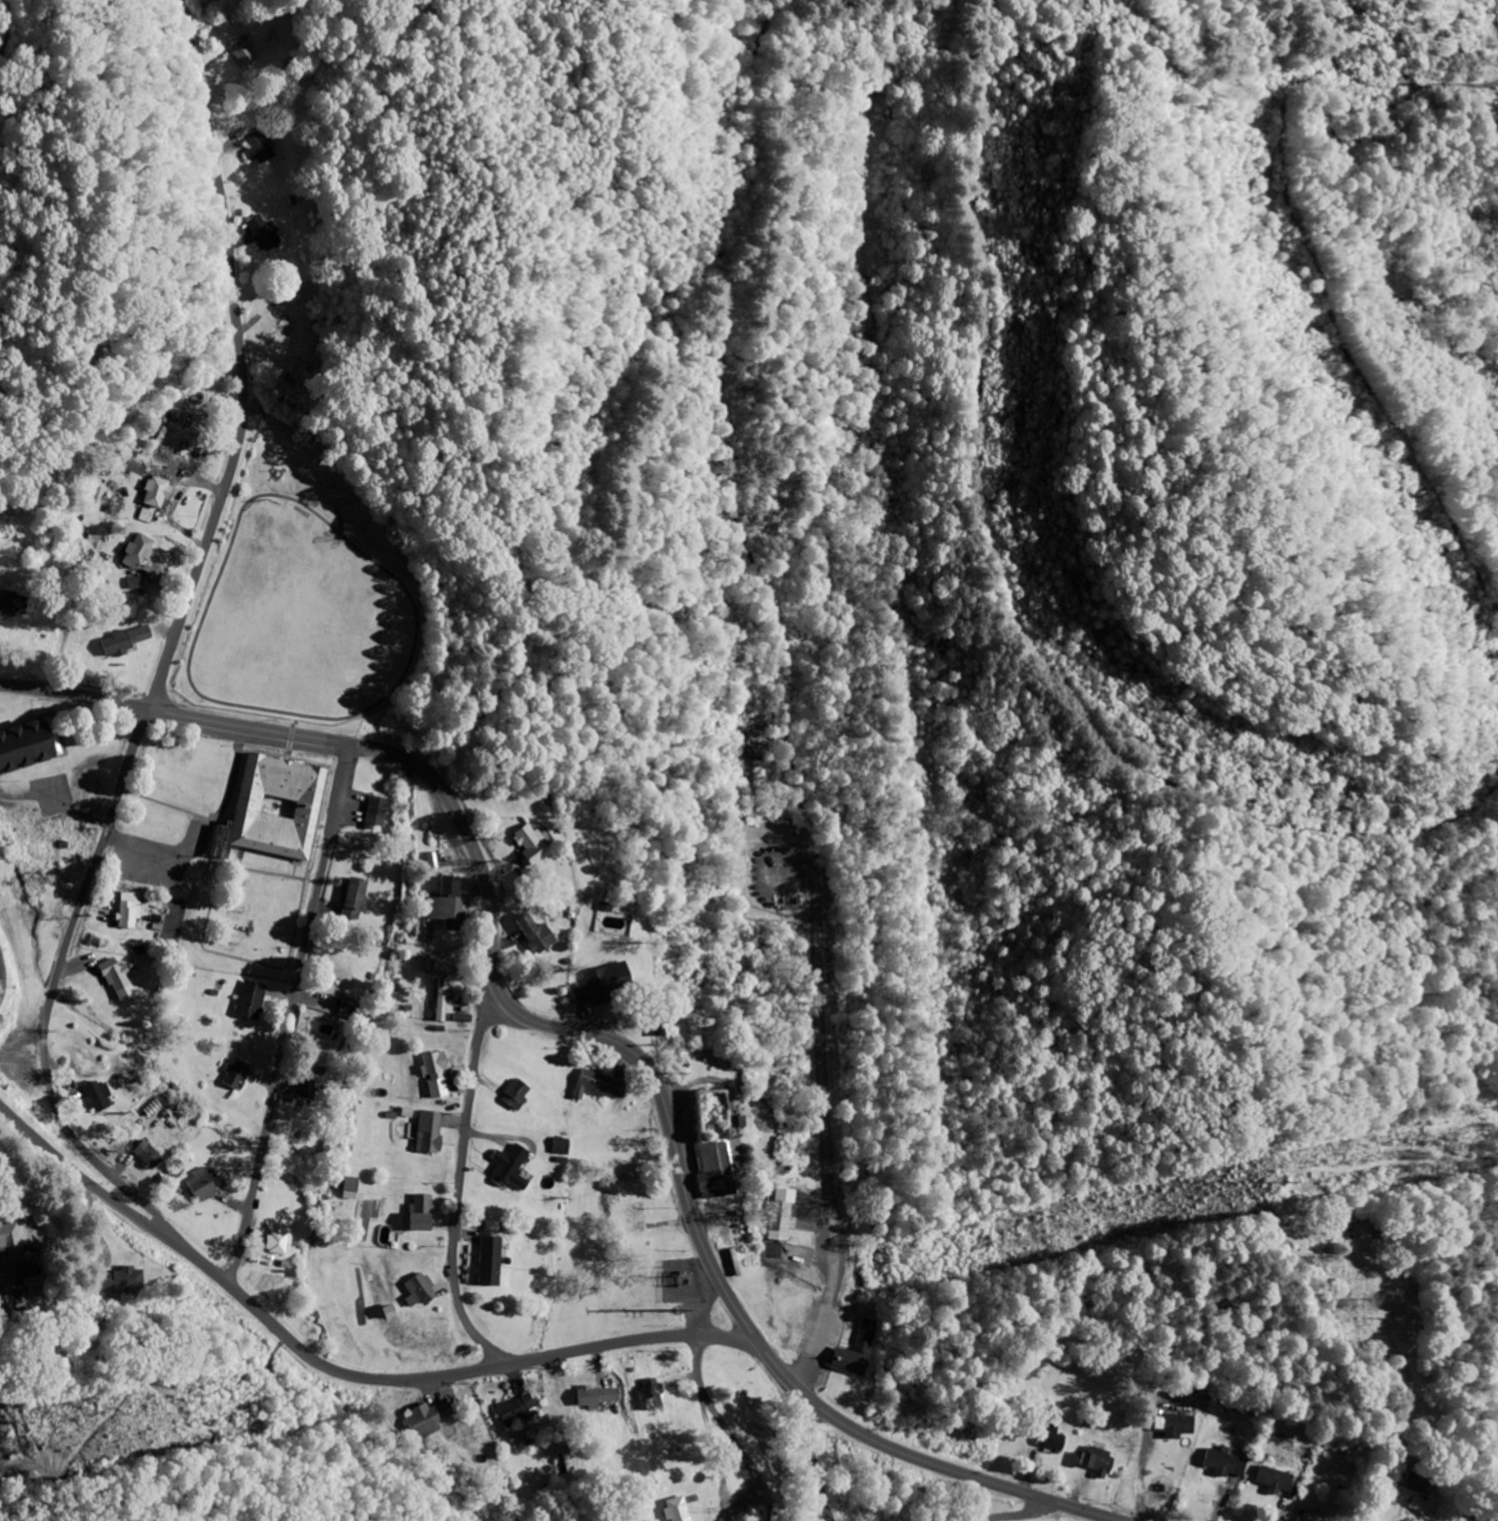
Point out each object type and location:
building: (244, 50)
building: (257, 144)
building: (263, 230)
building: (285, 316)
road: (244, 360)
building: (169, 443)
building: (154, 491)
building: (135, 550)
park: (307, 589)
building: (8, 601)
building: (125, 640)
building: (20, 746)
building: (271, 807)
building: (374, 810)
building: (527, 844)
building: (351, 893)
building: (445, 902)
building: (128, 909)
building: (533, 933)
building: (441, 962)
road: (0, 973)
building: (339, 974)
building: (119, 980)
building: (601, 984)
building: (249, 999)
building: (440, 999)
road: (292, 1013)
road: (587, 1032)
building: (233, 1073)
building: (433, 1073)
building: (598, 1084)
building: (307, 1085)
building: (95, 1092)
building: (514, 1092)
road: (828, 1121)
building: (427, 1130)
building: (559, 1144)
road: (462, 1165)
building: (716, 1166)
building: (509, 1167)
building: (202, 1182)
power tower: (1285, 1182)
building: (348, 1183)
road: (98, 1190)
building: (417, 1211)
building: (779, 1214)
building: (635, 1216)
building: (386, 1235)
building: (276, 1238)
building: (8, 1239)
road: (196, 1252)
building: (486, 1258)
building: (117, 1279)
power substation: (681, 1281)
building: (416, 1288)
power tower: (687, 1316)
building: (853, 1350)
building: (647, 1392)
building: (594, 1395)
building: (515, 1407)
building: (426, 1416)
road: (706, 1423)
building: (1171, 1423)
building: (1050, 1437)
power tower: (22, 1444)
road: (816, 1456)
building: (1095, 1459)
building: (1223, 1461)
building: (1273, 1478)
building: (674, 1508)
road: (1017, 1514)

